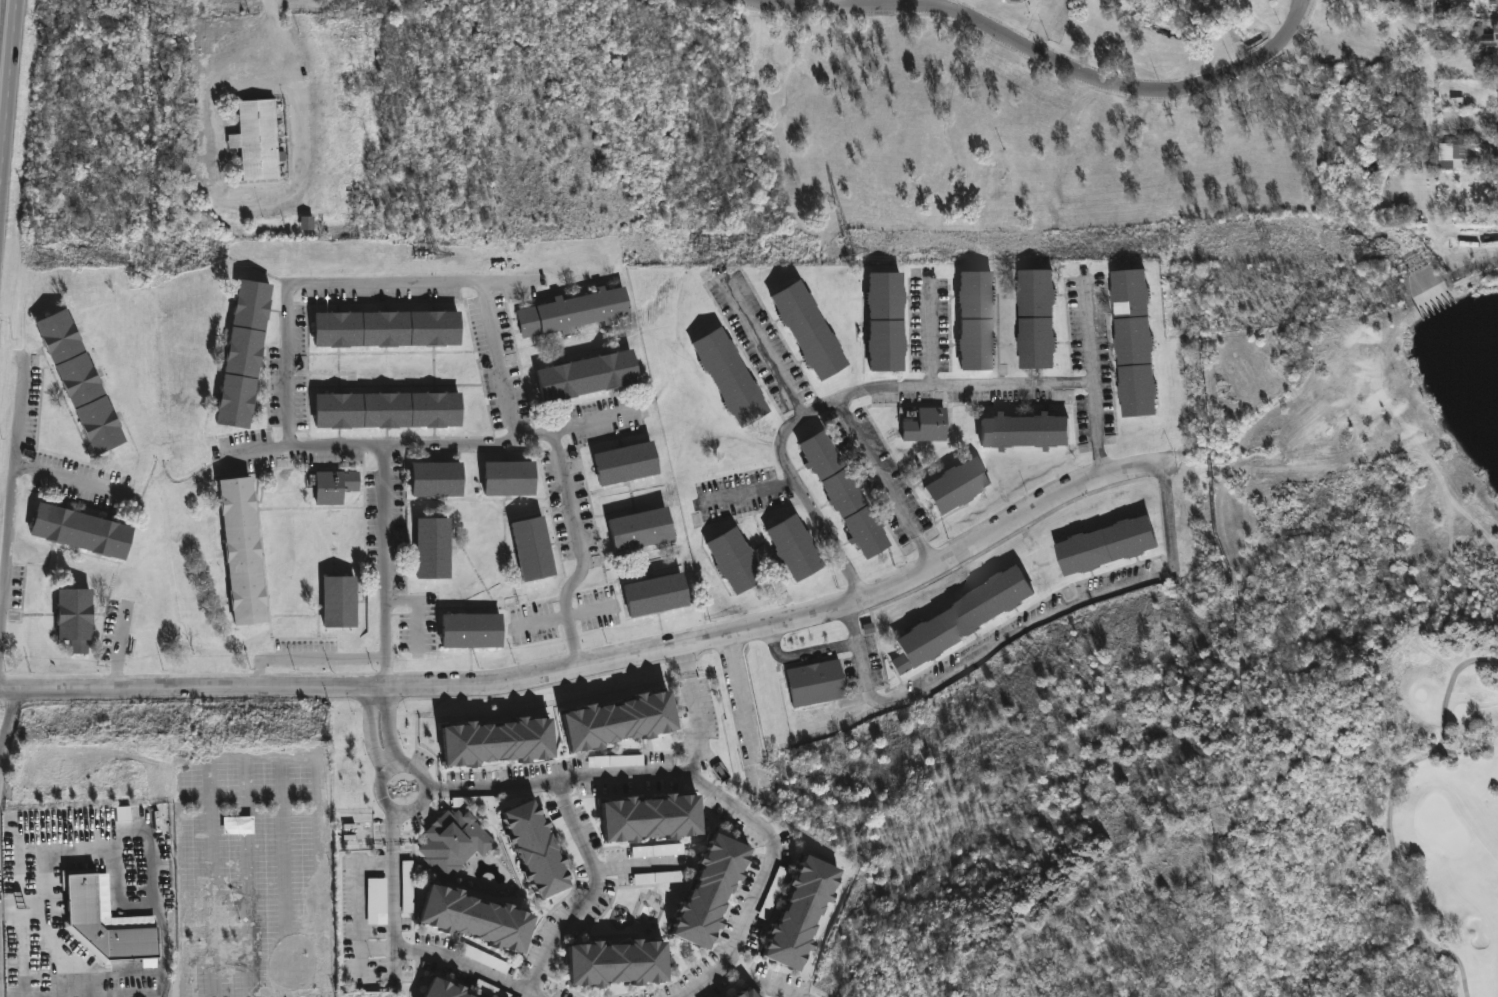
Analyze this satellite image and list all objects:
building: (1497, 2)
road: (1300, 28)
building: (1485, 37)
road: (1016, 39)
road: (313, 98)
road: (9, 108)
park: (745, 126)
building: (1495, 136)
building: (260, 139)
road: (1484, 144)
building: (1451, 155)
building: (1495, 157)
building: (1497, 188)
power tower: (1263, 247)
power tower: (844, 253)
power tower: (430, 257)
power tower: (41, 263)
road: (415, 286)
building: (569, 311)
building: (1034, 319)
building: (973, 320)
building: (881, 321)
building: (391, 329)
building: (804, 329)
road: (930, 333)
building: (1132, 343)
road: (764, 345)
building: (246, 354)
road: (502, 361)
road: (292, 366)
building: (581, 375)
building: (727, 376)
road: (1096, 380)
building: (84, 381)
road: (841, 398)
building: (391, 410)
building: (922, 425)
building: (1020, 432)
road: (432, 443)
building: (620, 463)
road: (73, 478)
building: (504, 478)
building: (441, 480)
road: (887, 482)
building: (335, 486)
building: (951, 486)
road: (749, 491)
building: (840, 492)
road: (10, 493)
road: (1170, 513)
building: (86, 528)
building: (634, 529)
building: (438, 545)
building: (789, 546)
building: (1104, 546)
building: (247, 548)
building: (527, 548)
road: (583, 553)
building: (730, 559)
road: (389, 567)
building: (649, 595)
building: (343, 599)
road: (594, 610)
road: (417, 612)
building: (78, 615)
building: (956, 616)
road: (543, 620)
building: (476, 628)
road: (125, 645)
road: (811, 650)
road: (313, 660)
road: (983, 661)
road: (602, 665)
building: (812, 681)
road: (750, 713)
road: (696, 715)
building: (630, 716)
road: (8, 721)
road: (391, 725)
road: (371, 730)
building: (505, 739)
road: (405, 763)
road: (701, 786)
road: (815, 799)
park: (1434, 802)
road: (1389, 811)
building: (642, 816)
park: (1440, 823)
building: (456, 841)
building: (545, 847)
road: (637, 866)
road: (398, 878)
road: (586, 885)
building: (701, 889)
building: (379, 900)
road: (132, 903)
building: (87, 904)
building: (794, 910)
building: (484, 916)
road: (356, 923)
building: (608, 961)
road: (478, 966)
road: (77, 968)
road: (761, 977)
building: (453, 988)
building: (436, 991)
building: (737, 993)
building: (720, 996)

